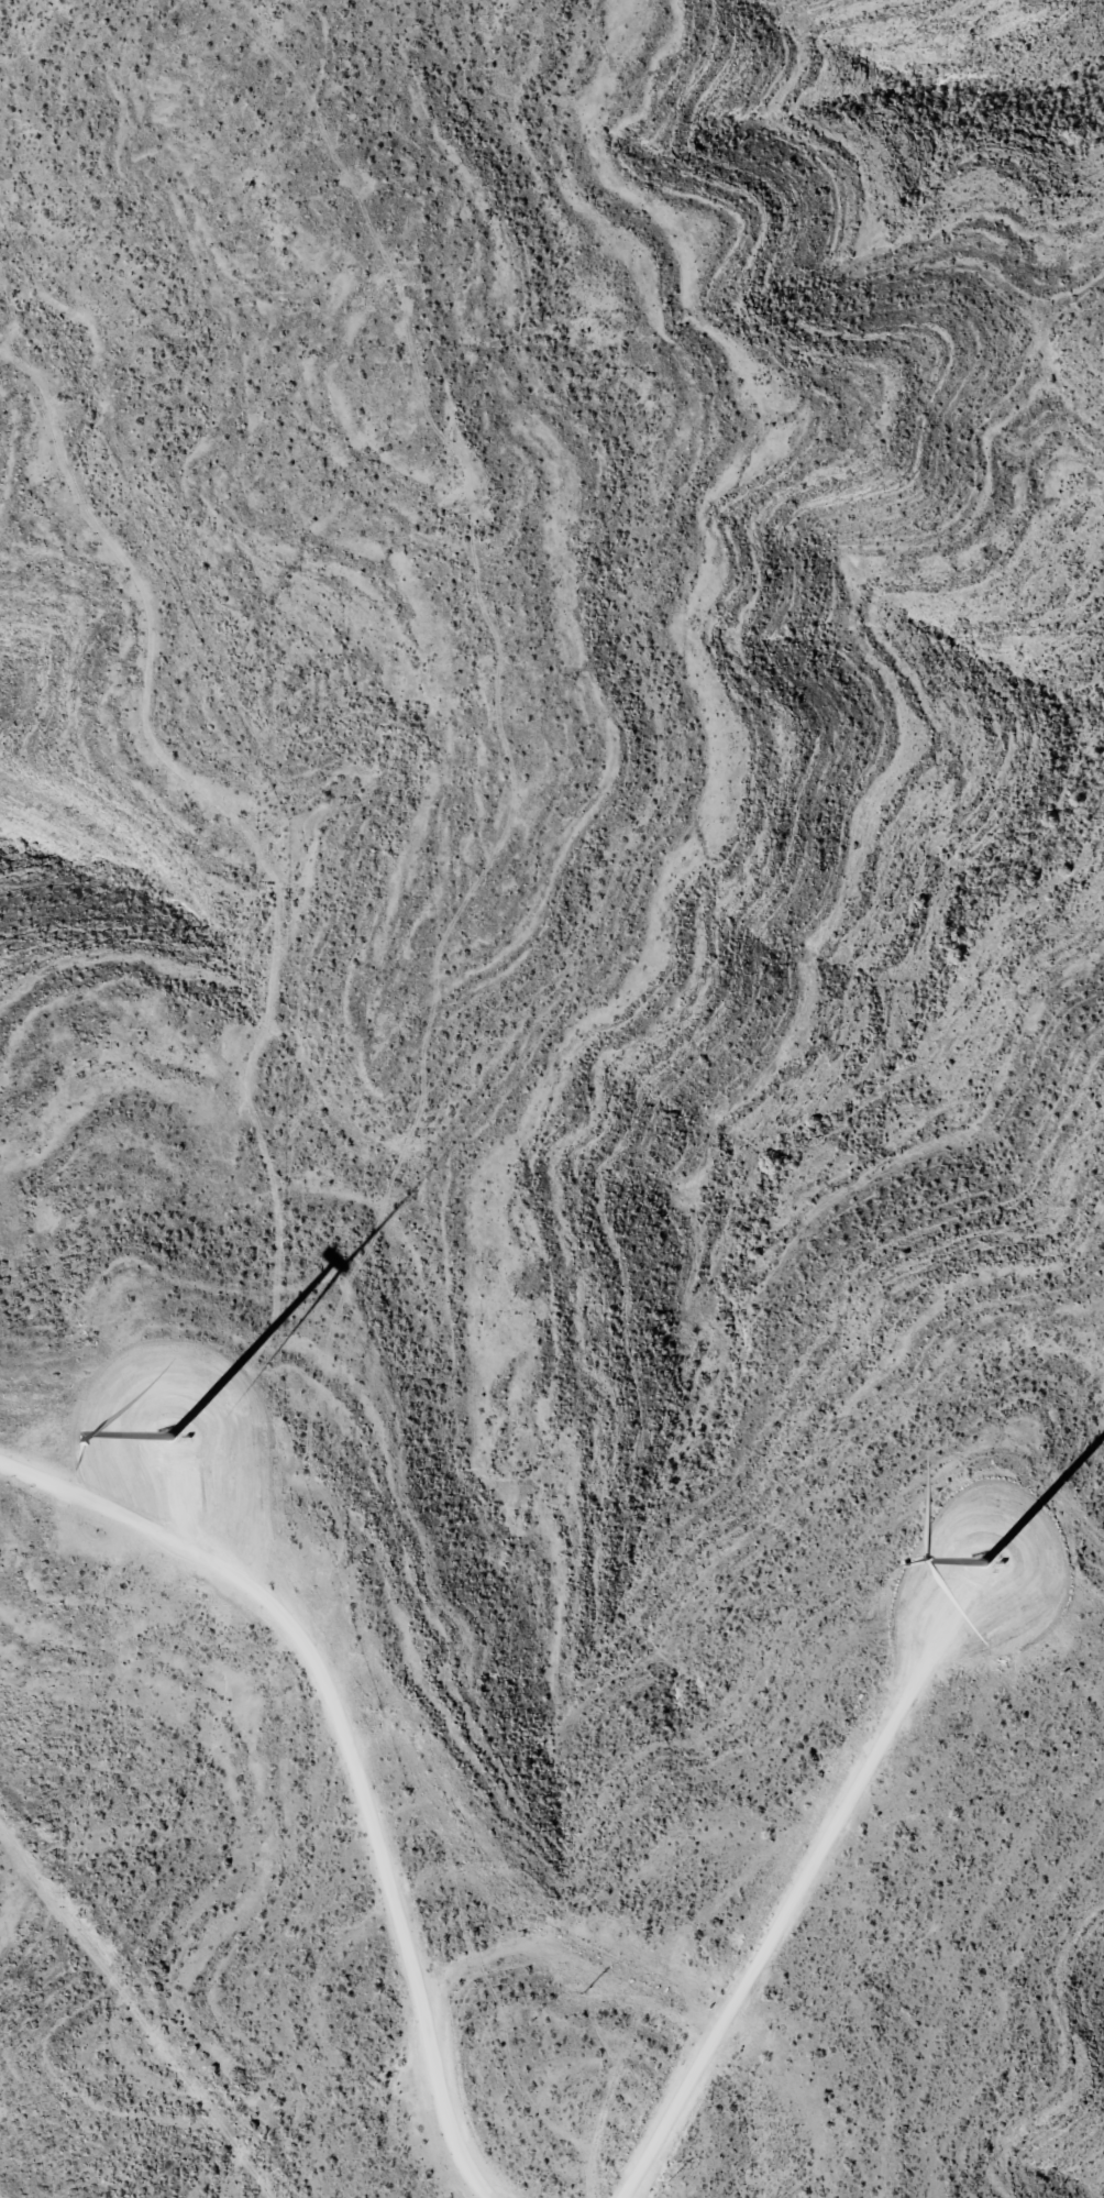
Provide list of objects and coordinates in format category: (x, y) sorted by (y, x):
wind turbine: (168, 1437)
wind turbine: (984, 1561)

